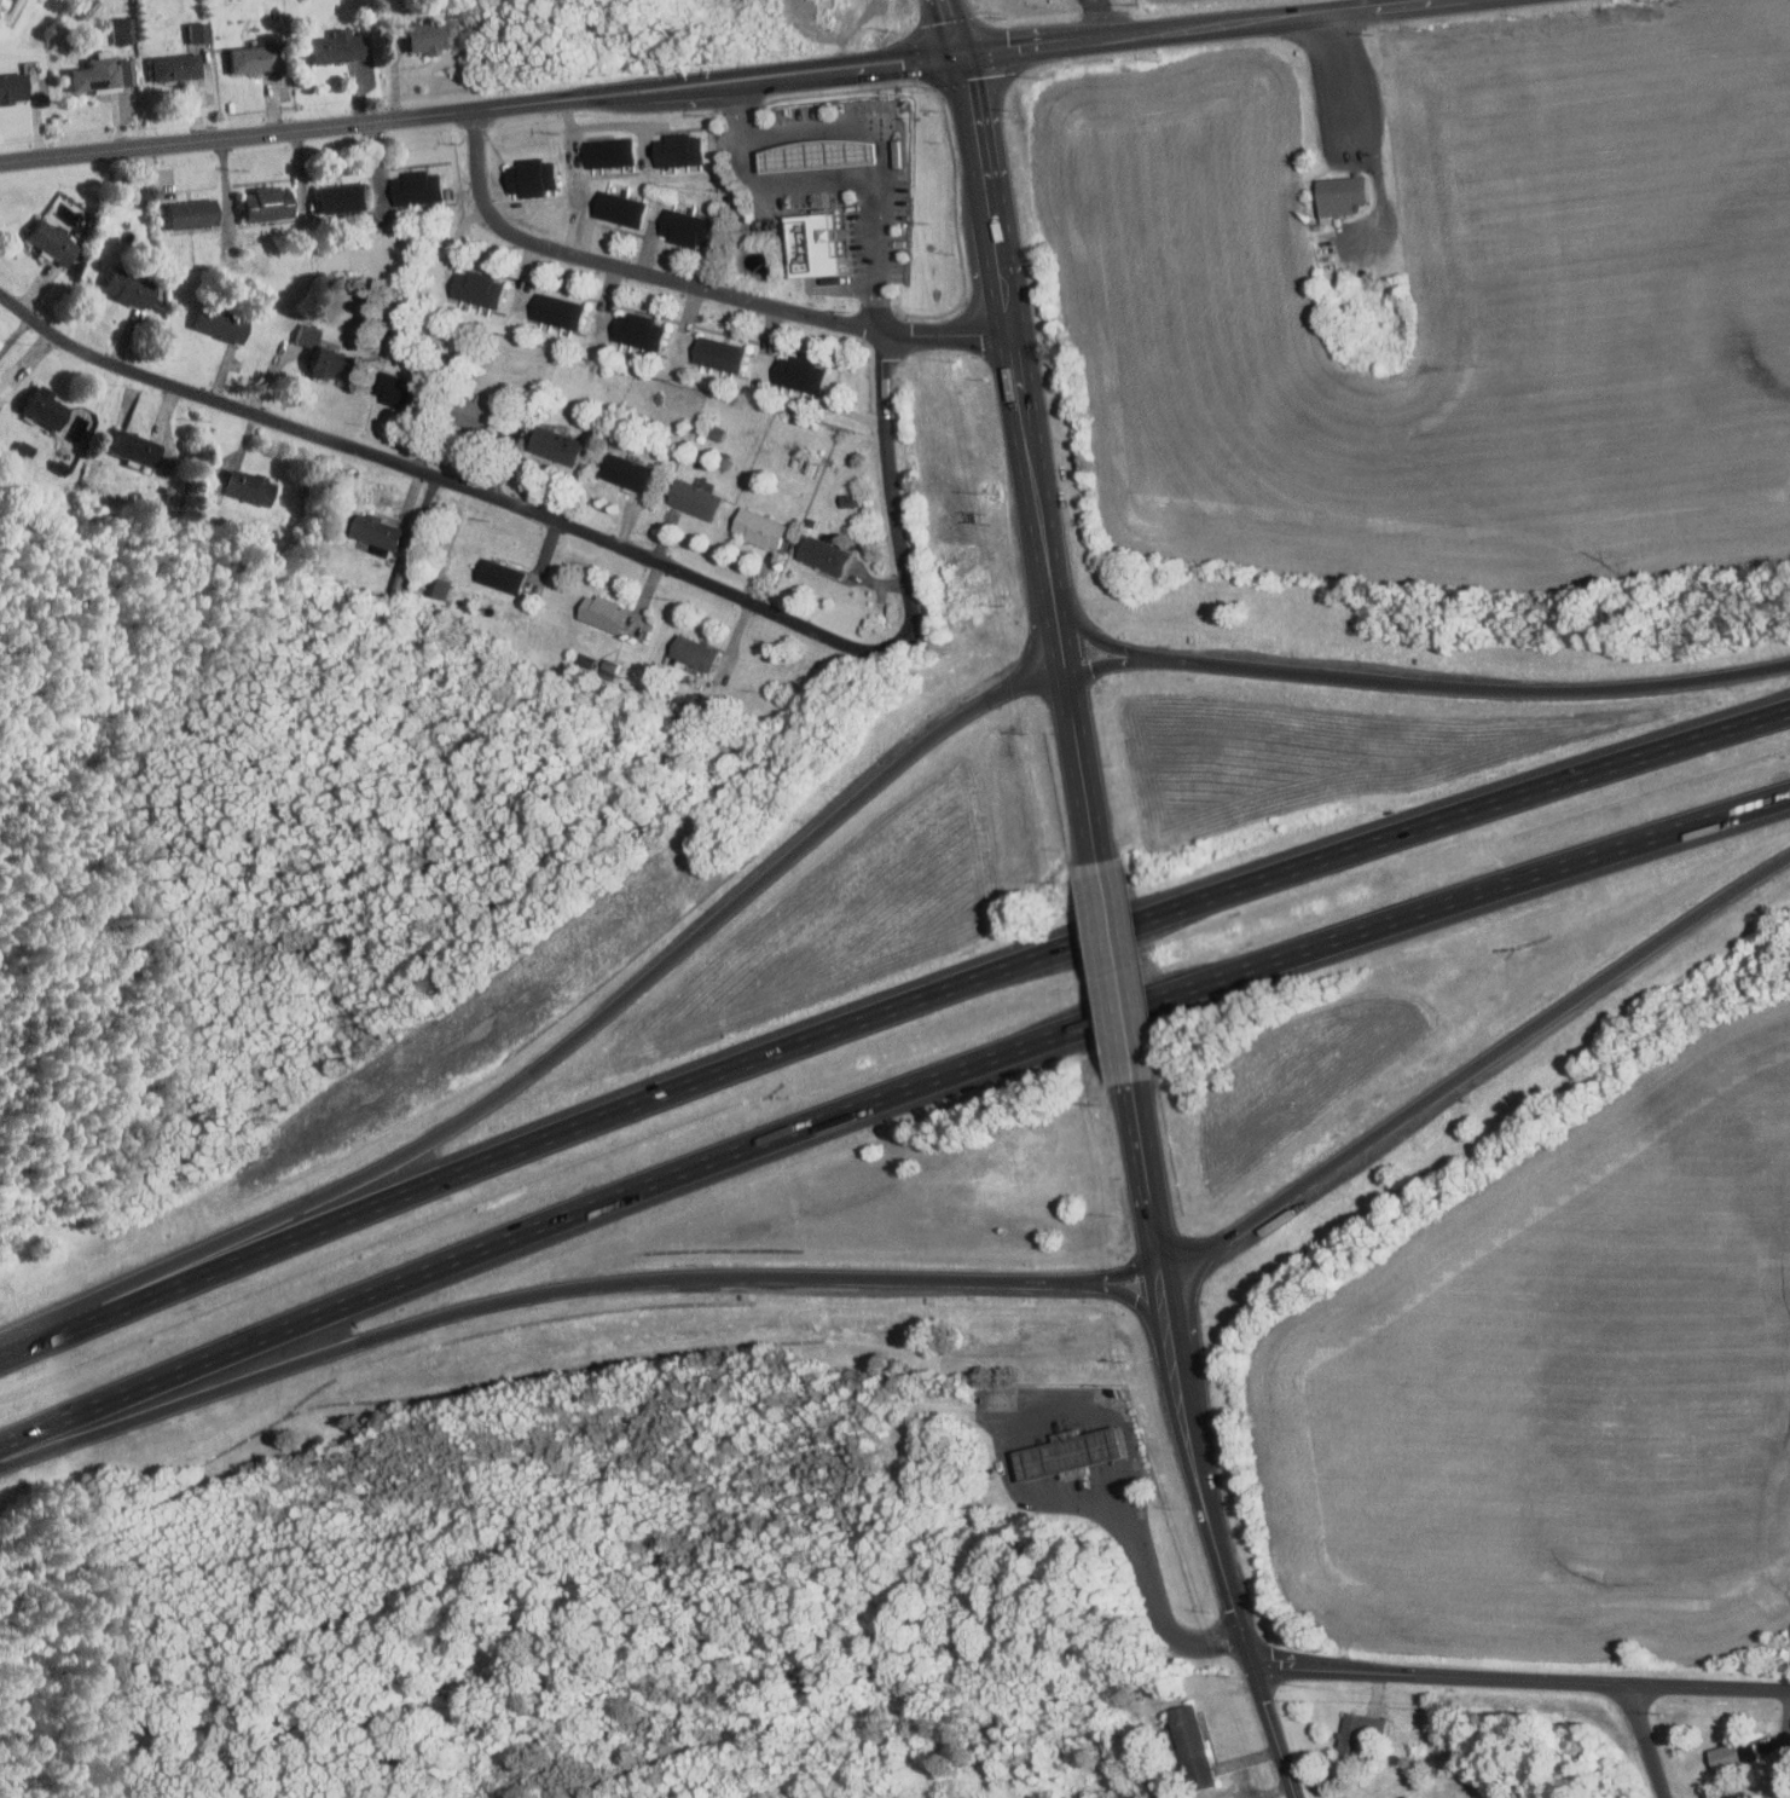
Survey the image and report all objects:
building: (87, 8)
road: (1095, 19)
road: (954, 27)
building: (123, 29)
building: (201, 30)
building: (433, 36)
building: (338, 47)
traffic signals: (964, 54)
building: (255, 59)
building: (178, 67)
building: (97, 74)
road: (1351, 81)
road: (719, 83)
building: (13, 86)
road: (603, 123)
road: (846, 125)
building: (679, 151)
building: (609, 152)
building: (821, 152)
building: (532, 177)
road: (839, 179)
building: (418, 189)
building: (1343, 190)
building: (342, 197)
building: (267, 204)
building: (620, 208)
building: (191, 213)
building: (687, 225)
building: (52, 242)
building: (815, 244)
gas station: (815, 244)
building: (77, 272)
road: (693, 283)
building: (129, 285)
building: (465, 285)
building: (490, 291)
building: (546, 306)
crop: (1446, 306)
building: (570, 312)
building: (221, 322)
building: (627, 329)
building: (309, 334)
building: (650, 335)
building: (708, 349)
building: (731, 355)
building: (330, 364)
building: (789, 371)
building: (812, 377)
building: (400, 388)
building: (45, 407)
building: (474, 414)
building: (556, 444)
building: (25, 446)
building: (134, 447)
road: (1030, 461)
building: (627, 472)
road: (442, 478)
building: (213, 486)
building: (249, 486)
road: (892, 493)
building: (696, 498)
building: (852, 499)
building: (759, 527)
building: (377, 531)
building: (824, 554)
building: (502, 576)
building: (401, 580)
building: (441, 586)
building: (603, 613)
building: (695, 653)
building: (610, 666)
road: (1426, 682)
road: (1116, 977)
road: (618, 1000)
road: (890, 1027)
road: (1478, 1083)
road: (887, 1104)
road: (1152, 1185)
road: (616, 1282)
road: (1010, 1453)
building: (1071, 1453)
road: (1137, 1469)
road: (1223, 1543)
road: (1163, 1614)
traffic signals: (1251, 1669)
road: (1520, 1680)
building: (1356, 1730)
road: (1649, 1741)
building: (1194, 1742)
building: (1731, 1754)

